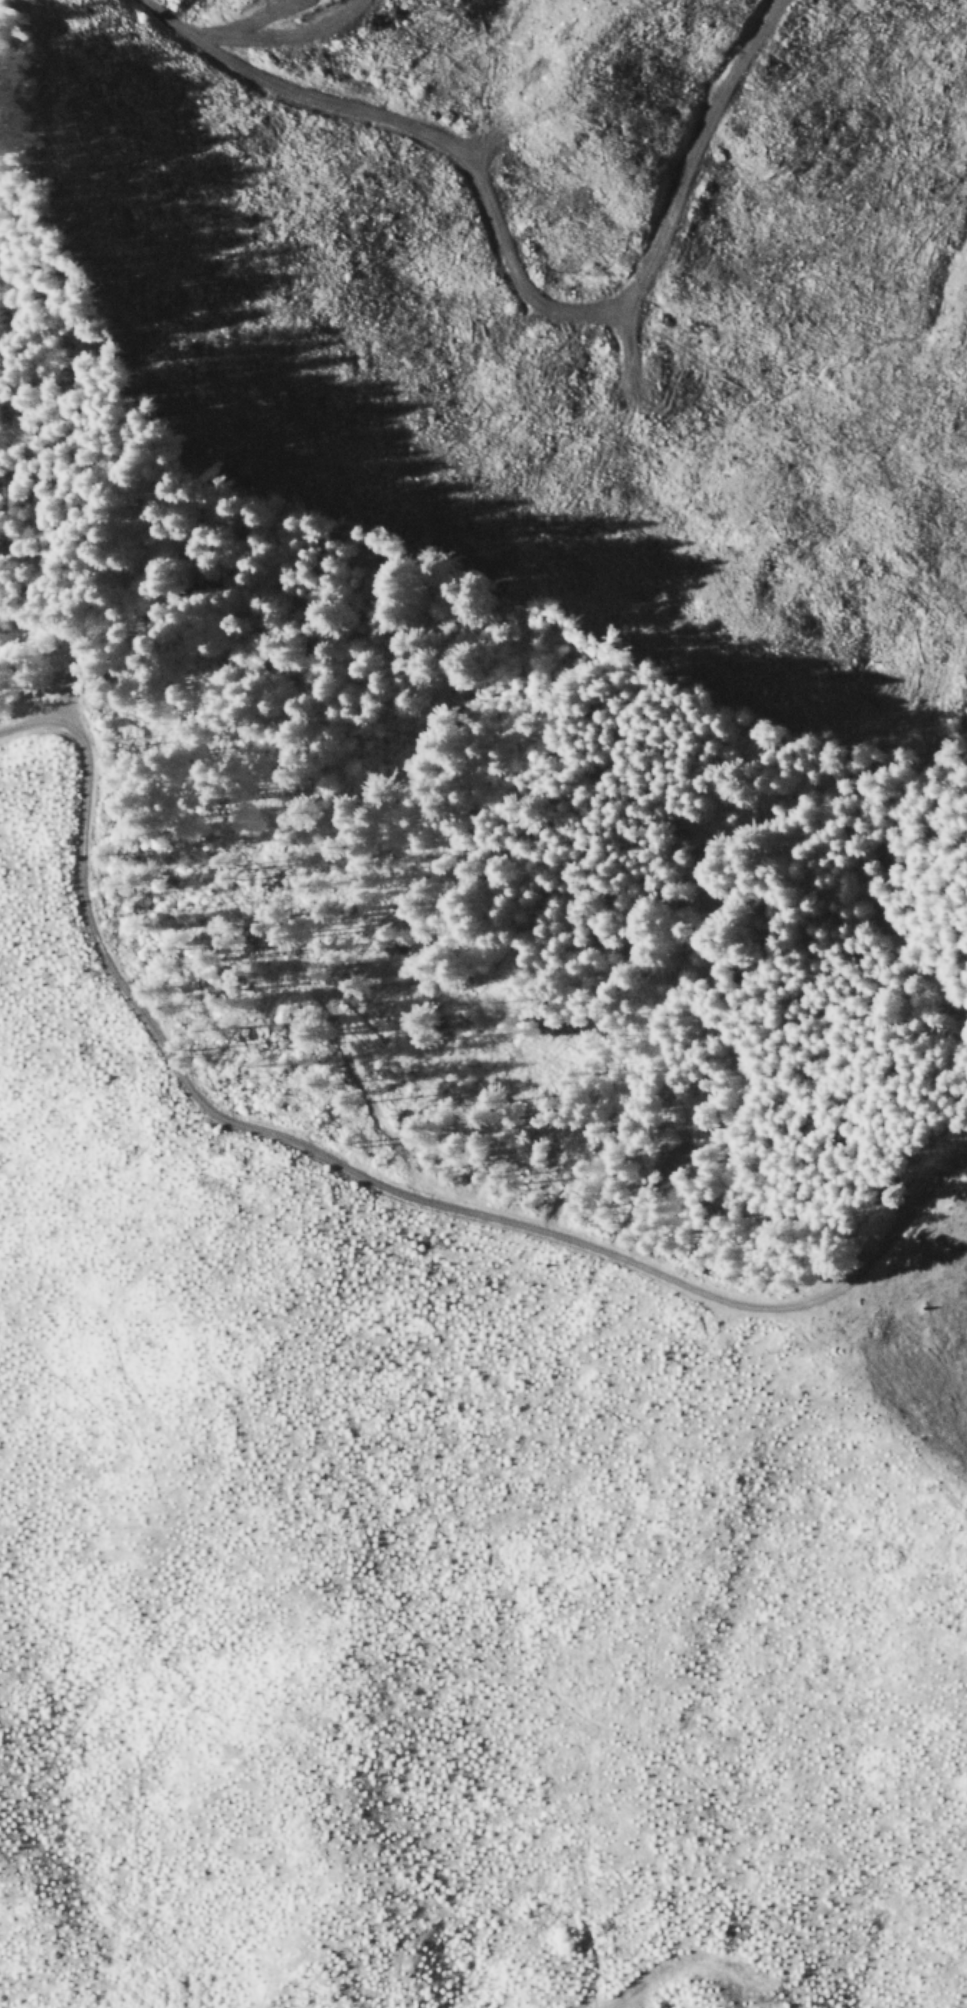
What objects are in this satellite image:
road: (373, 1174)

